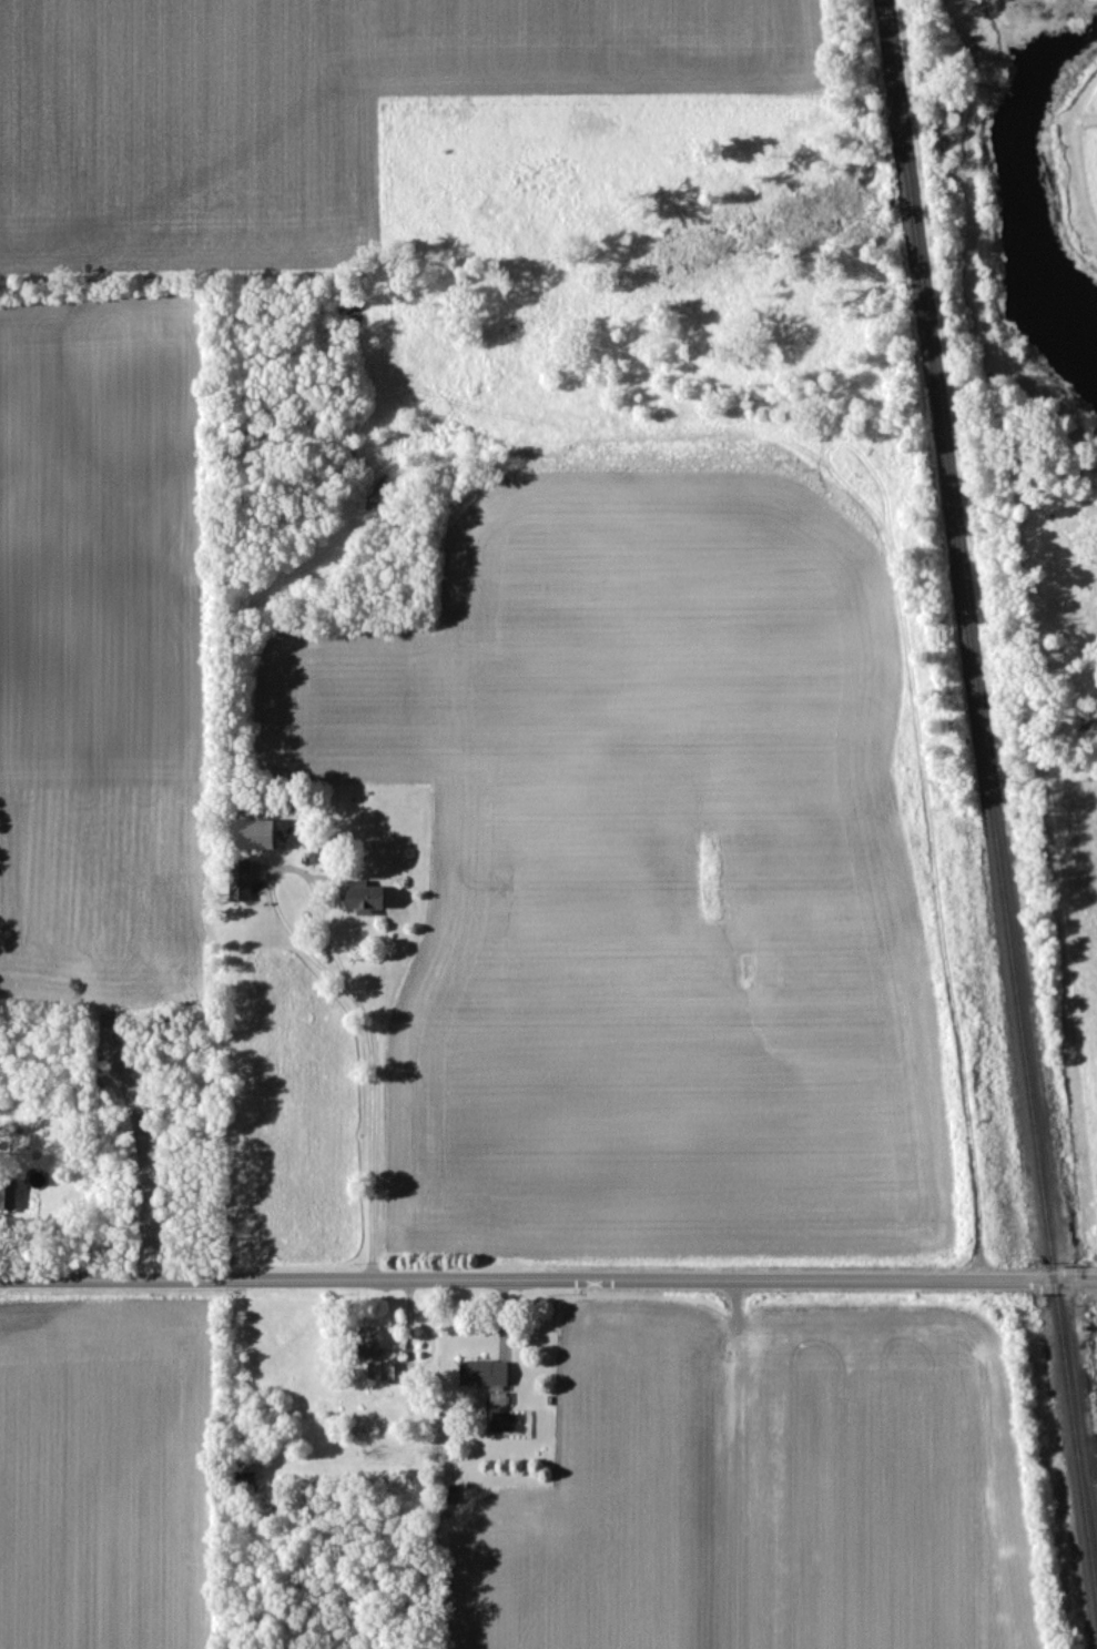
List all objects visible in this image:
railway: (994, 752)
building: (247, 836)
building: (238, 882)
building: (362, 898)
road: (345, 974)
building: (6, 1200)
road: (548, 1274)
building: (367, 1344)
building: (384, 1370)
building: (483, 1375)
building: (449, 1495)

